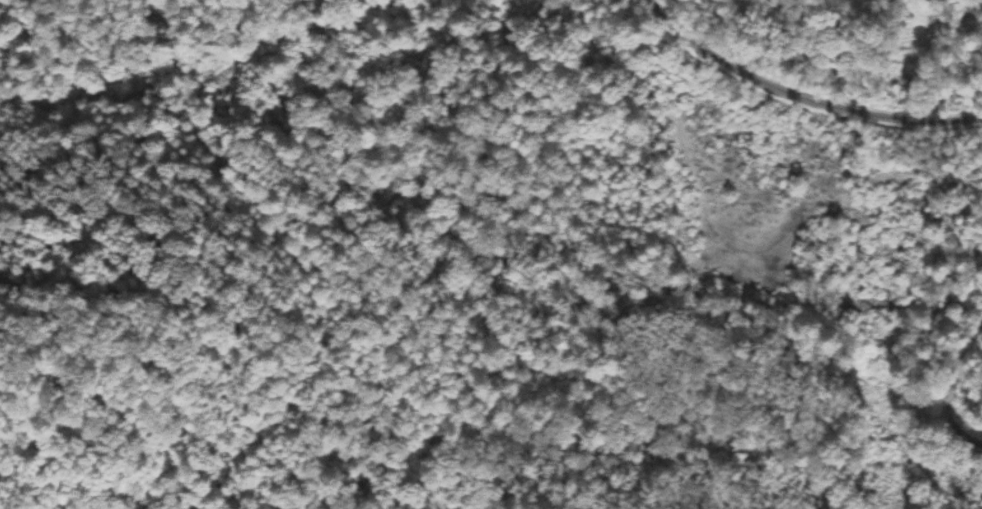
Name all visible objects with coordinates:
road: (231, 24)
road: (798, 110)
road: (254, 436)

